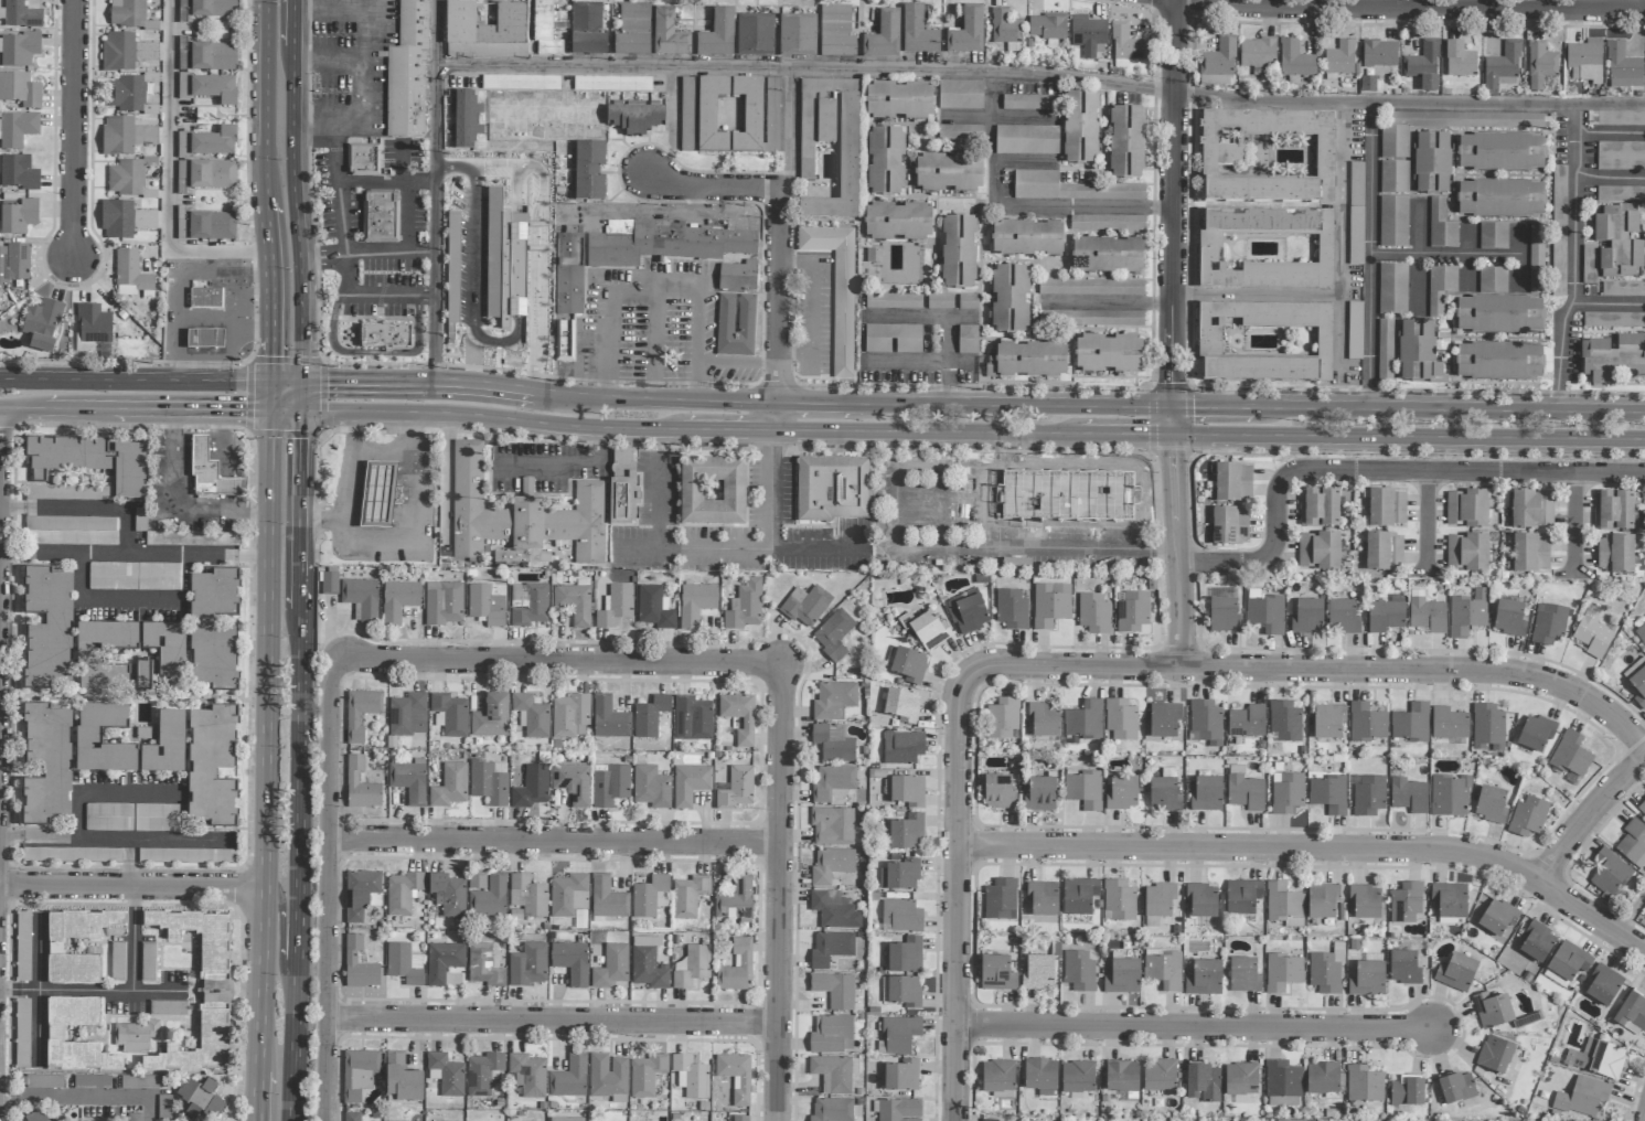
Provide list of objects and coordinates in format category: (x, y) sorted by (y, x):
road: (330, 3)
road: (368, 4)
road: (1644, 6)
building: (210, 8)
road: (1421, 8)
building: (127, 13)
building: (19, 14)
building: (634, 18)
building: (835, 20)
building: (1047, 26)
road: (292, 29)
building: (587, 29)
building: (544, 30)
building: (1005, 30)
building: (485, 32)
building: (918, 32)
building: (966, 32)
building: (669, 34)
building: (717, 34)
building: (755, 35)
building: (797, 35)
building: (1088, 35)
building: (884, 36)
building: (631, 44)
building: (837, 46)
building: (1126, 46)
building: (19, 50)
building: (1258, 54)
building: (1379, 54)
building: (206, 56)
road: (327, 58)
building: (1219, 58)
building: (1340, 58)
building: (1295, 60)
building: (1460, 60)
building: (1585, 61)
building: (1423, 65)
building: (1540, 65)
road: (361, 66)
building: (1503, 66)
building: (1623, 67)
building: (407, 72)
road: (1044, 77)
building: (1216, 82)
building: (215, 89)
building: (20, 90)
road: (991, 93)
building: (126, 94)
building: (960, 95)
building: (899, 100)
road: (266, 103)
building: (1029, 103)
building: (697, 115)
building: (772, 115)
building: (544, 116)
building: (635, 117)
building: (1615, 118)
building: (464, 119)
building: (1467, 120)
building: (825, 121)
building: (1080, 126)
building: (17, 129)
road: (794, 129)
road: (75, 130)
building: (960, 132)
building: (125, 136)
building: (1026, 140)
building: (214, 142)
building: (1126, 142)
building: (1395, 142)
building: (848, 147)
building: (1502, 152)
building: (805, 154)
building: (1621, 156)
building: (1268, 157)
building: (363, 160)
building: (885, 161)
building: (1432, 162)
building: (588, 170)
building: (949, 172)
building: (18, 173)
building: (207, 174)
road: (1609, 174)
road: (169, 175)
building: (128, 177)
building: (1395, 177)
road: (387, 181)
road: (338, 189)
road: (438, 189)
road: (714, 189)
road: (788, 189)
building: (1068, 189)
building: (1500, 199)
road: (1174, 203)
road: (1037, 206)
building: (1356, 213)
road: (405, 215)
building: (378, 216)
building: (18, 217)
road: (296, 218)
building: (124, 220)
building: (897, 222)
building: (1393, 222)
building: (1107, 223)
building: (212, 226)
building: (1441, 226)
building: (1558, 231)
building: (1493, 236)
building: (1027, 238)
building: (1619, 239)
building: (662, 243)
building: (1267, 249)
road: (367, 252)
building: (958, 252)
road: (1446, 253)
building: (1108, 255)
building: (509, 256)
road: (1371, 257)
building: (1536, 258)
road: (1573, 259)
building: (13, 264)
building: (1589, 264)
building: (452, 268)
building: (568, 271)
building: (130, 275)
building: (738, 277)
building: (1493, 280)
road: (1339, 281)
building: (1091, 287)
building: (1440, 288)
building: (836, 289)
building: (1392, 289)
building: (1623, 289)
road: (655, 290)
road: (269, 292)
road: (373, 293)
building: (205, 296)
gas station: (205, 296)
road: (780, 296)
building: (1010, 299)
building: (893, 301)
building: (968, 301)
road: (1108, 301)
road: (1604, 301)
road: (179, 302)
building: (939, 302)
road: (250, 306)
road: (813, 306)
building: (1499, 314)
road: (948, 316)
building: (1090, 318)
road: (242, 320)
building: (1613, 320)
building: (42, 324)
building: (93, 324)
building: (735, 324)
building: (1355, 331)
road: (653, 333)
road: (1339, 333)
building: (384, 335)
building: (204, 339)
gas station: (204, 339)
building: (893, 339)
building: (968, 340)
building: (564, 341)
building: (1265, 342)
building: (1418, 350)
building: (1385, 351)
building: (1108, 354)
building: (1613, 359)
traffic signals: (268, 361)
building: (1027, 361)
building: (1499, 361)
road: (122, 362)
road: (878, 362)
traffic signals: (329, 378)
road: (439, 378)
road: (132, 380)
road: (284, 380)
road: (301, 394)
road: (266, 395)
road: (676, 399)
road: (827, 404)
road: (1025, 406)
road: (132, 407)
road: (1220, 408)
traffic signals: (246, 409)
road: (282, 409)
road: (1318, 409)
road: (1507, 410)
road: (490, 415)
road: (778, 417)
road: (1174, 421)
road: (131, 426)
road: (728, 430)
road: (927, 433)
road: (1125, 435)
road: (0, 436)
traffic signals: (299, 436)
road: (1409, 438)
road: (565, 460)
building: (90, 461)
road: (1378, 470)
gas station: (209, 472)
building: (210, 474)
building: (1232, 482)
road: (346, 485)
building: (526, 487)
building: (622, 487)
building: (832, 488)
road: (299, 491)
building: (712, 491)
building: (68, 493)
gas station: (378, 494)
building: (377, 495)
building: (1067, 497)
road: (180, 498)
building: (468, 503)
building: (1318, 508)
building: (1387, 508)
building: (1466, 509)
building: (1531, 510)
building: (1613, 511)
road: (415, 521)
road: (1427, 521)
road: (1573, 522)
building: (581, 523)
building: (1229, 526)
road: (126, 530)
building: (72, 531)
road: (777, 533)
building: (182, 535)
road: (911, 544)
road: (639, 547)
road: (673, 547)
road: (194, 551)
road: (1181, 551)
building: (1318, 551)
building: (1384, 552)
building: (1467, 553)
building: (1530, 553)
building: (1615, 554)
building: (135, 576)
building: (329, 584)
road: (298, 592)
building: (362, 596)
road: (105, 598)
building: (398, 600)
building: (444, 602)
building: (574, 604)
building: (695, 604)
building: (1050, 605)
building: (485, 606)
building: (616, 606)
building: (807, 606)
building: (531, 607)
building: (654, 607)
building: (745, 607)
building: (1012, 610)
building: (968, 611)
building: (1132, 611)
building: (1093, 613)
building: (1265, 613)
building: (1467, 613)
building: (1224, 615)
building: (1386, 615)
building: (1307, 616)
building: (1427, 616)
building: (1343, 617)
building: (1509, 618)
building: (1549, 624)
building: (47, 628)
building: (213, 629)
building: (928, 630)
building: (1641, 632)
building: (833, 634)
building: (1592, 636)
building: (167, 649)
building: (88, 656)
road: (560, 662)
building: (908, 665)
road: (1315, 669)
building: (142, 676)
road: (298, 677)
building: (1637, 681)
building: (833, 701)
building: (901, 705)
building: (360, 708)
building: (405, 711)
building: (450, 714)
building: (532, 715)
building: (491, 716)
building: (570, 716)
building: (650, 716)
building: (738, 716)
building: (692, 718)
building: (1002, 718)
building: (609, 719)
building: (1044, 719)
building: (1121, 719)
building: (1164, 719)
building: (1083, 720)
building: (1328, 720)
building: (1247, 722)
building: (1285, 722)
building: (1205, 723)
building: (1366, 724)
building: (1411, 724)
building: (1449, 724)
building: (1487, 728)
building: (1536, 734)
building: (88, 737)
road: (263, 740)
building: (831, 744)
building: (165, 745)
building: (902, 748)
building: (1570, 755)
building: (46, 764)
building: (212, 766)
building: (409, 780)
building: (489, 782)
building: (572, 783)
building: (690, 783)
building: (832, 783)
building: (609, 784)
building: (360, 786)
building: (450, 786)
building: (531, 787)
building: (651, 787)
building: (736, 789)
building: (1083, 790)
building: (907, 791)
building: (998, 792)
building: (1164, 792)
building: (1245, 792)
road: (108, 793)
building: (1042, 793)
building: (1122, 793)
building: (1286, 793)
building: (1207, 794)
building: (1328, 794)
building: (1368, 796)
building: (1409, 796)
building: (1450, 796)
building: (1491, 804)
building: (1642, 809)
building: (109, 816)
building: (1528, 816)
building: (157, 818)
road: (1589, 819)
building: (832, 828)
building: (907, 833)
road: (114, 835)
road: (557, 842)
building: (1633, 843)
road: (1315, 851)
building: (71, 855)
building: (185, 856)
building: (831, 865)
building: (1609, 874)
building: (899, 875)
road: (129, 887)
road: (330, 892)
building: (403, 893)
road: (276, 894)
building: (360, 894)
building: (487, 894)
building: (448, 895)
building: (568, 895)
building: (527, 896)
building: (650, 896)
building: (688, 896)
road: (782, 896)
building: (1079, 896)
building: (1242, 897)
building: (607, 898)
building: (1043, 898)
road: (961, 899)
building: (1001, 900)
building: (1119, 900)
building: (1201, 900)
building: (1322, 900)
building: (1450, 900)
building: (1365, 901)
building: (736, 903)
building: (1157, 903)
building: (1406, 903)
building: (1284, 905)
building: (834, 910)
road: (1631, 915)
building: (901, 916)
building: (1497, 918)
road: (299, 933)
building: (1536, 943)
building: (23, 946)
building: (55, 947)
building: (202, 947)
building: (830, 949)
building: (906, 955)
road: (282, 960)
building: (116, 961)
building: (147, 962)
building: (442, 962)
building: (570, 962)
building: (648, 963)
building: (359, 964)
building: (404, 964)
building: (528, 964)
building: (1567, 964)
building: (483, 965)
building: (611, 967)
building: (693, 967)
building: (737, 968)
building: (1403, 968)
building: (1164, 969)
building: (1079, 971)
building: (1038, 972)
building: (1282, 972)
building: (1325, 972)
building: (997, 973)
building: (1456, 973)
building: (1245, 975)
building: (1122, 976)
building: (1205, 978)
building: (1367, 979)
road: (131, 985)
building: (1603, 985)
building: (834, 989)
road: (19, 990)
building: (901, 991)
building: (164, 1008)
building: (1493, 1010)
building: (1632, 1014)
road: (556, 1022)
building: (213, 1023)
road: (1209, 1028)
building: (22, 1033)
building: (55, 1034)
building: (900, 1034)
building: (832, 1035)
building: (135, 1036)
building: (1495, 1055)
building: (1598, 1059)
building: (359, 1070)
building: (834, 1072)
building: (447, 1074)
building: (482, 1074)
building: (528, 1074)
building: (647, 1075)
building: (736, 1076)
building: (901, 1076)
building: (1122, 1076)
building: (1160, 1076)
building: (608, 1077)
building: (691, 1077)
building: (997, 1077)
building: (1078, 1077)
building: (569, 1078)
building: (402, 1079)
building: (1322, 1079)
building: (1282, 1081)
building: (1241, 1082)
building: (1203, 1083)
building: (1364, 1083)
building: (1456, 1088)
building: (1408, 1091)
road: (253, 1097)
building: (1583, 1097)
road: (86, 1098)
building: (200, 1099)
building: (832, 1109)
building: (897, 1110)
building: (352, 1114)
building: (35, 1115)
building: (133, 1117)
building: (740, 1118)
building: (566, 1119)
building: (58, 1120)
building: (989, 1120)

